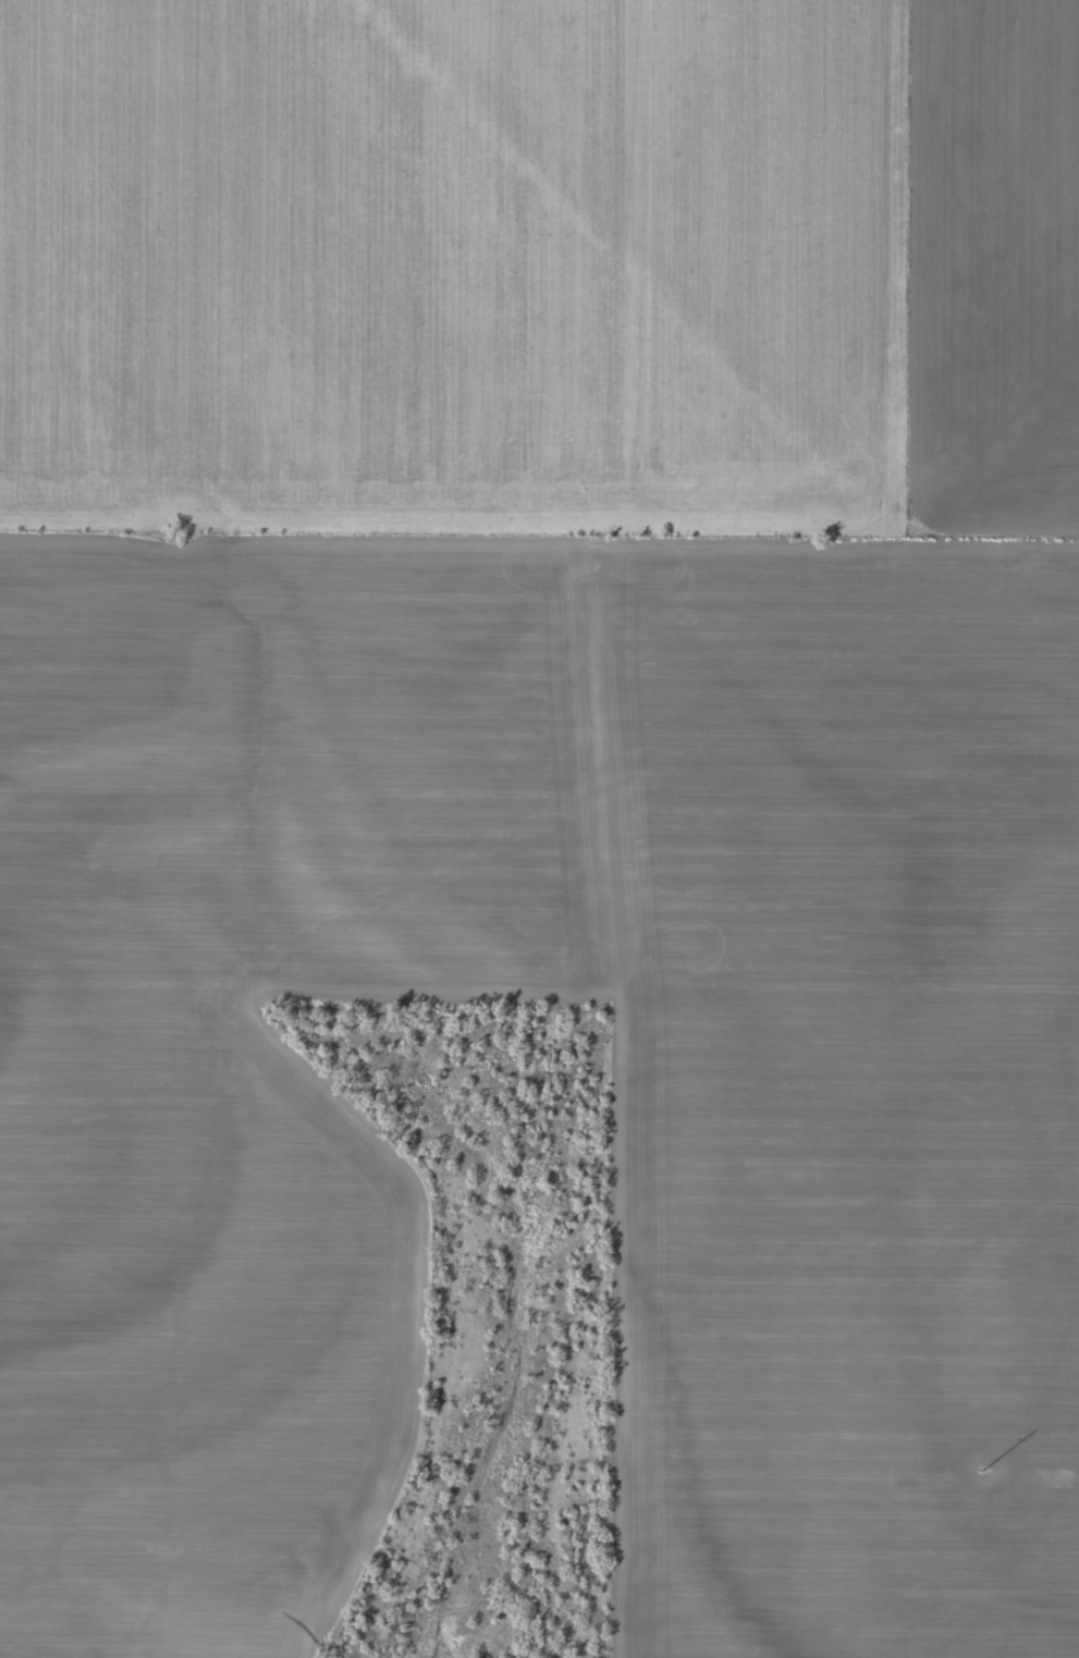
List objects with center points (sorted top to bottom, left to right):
power tower: (984, 1463)

